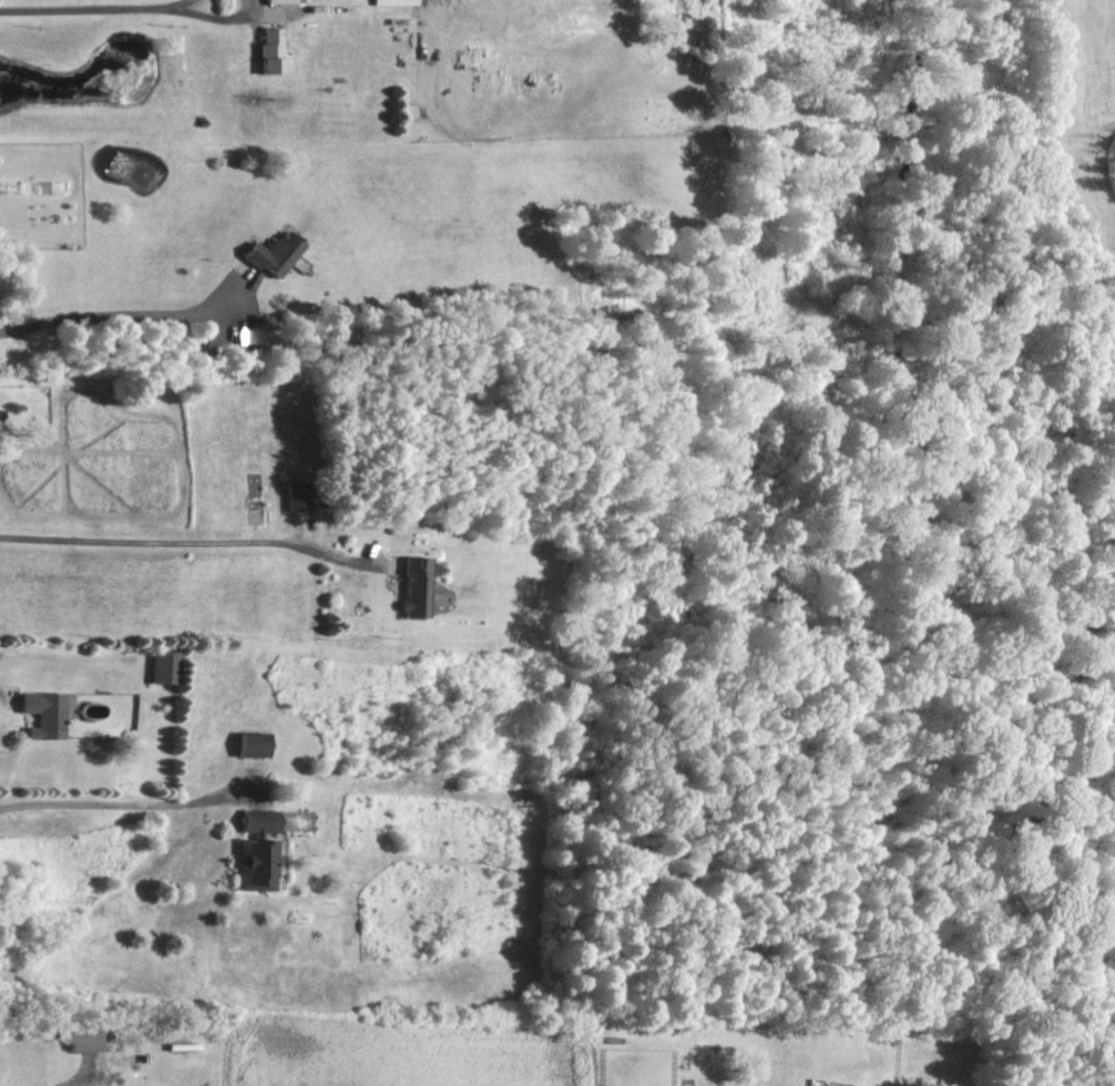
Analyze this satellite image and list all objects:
building: (272, 0)
building: (374, 2)
road: (165, 4)
road: (78, 10)
road: (196, 20)
building: (262, 49)
building: (258, 252)
building: (285, 264)
road: (110, 320)
building: (274, 495)
road: (167, 541)
building: (393, 586)
building: (146, 667)
building: (31, 714)
building: (238, 744)
road: (115, 801)
building: (246, 849)
building: (76, 1038)

